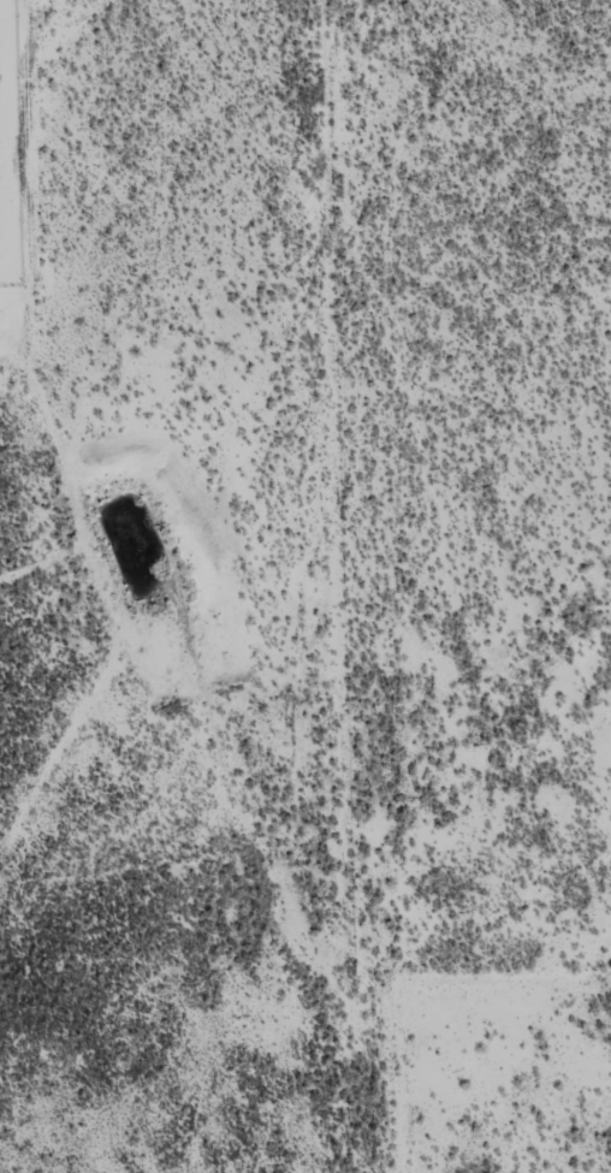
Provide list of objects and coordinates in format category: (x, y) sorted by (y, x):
solar farm: (12, 149)
road: (58, 802)

